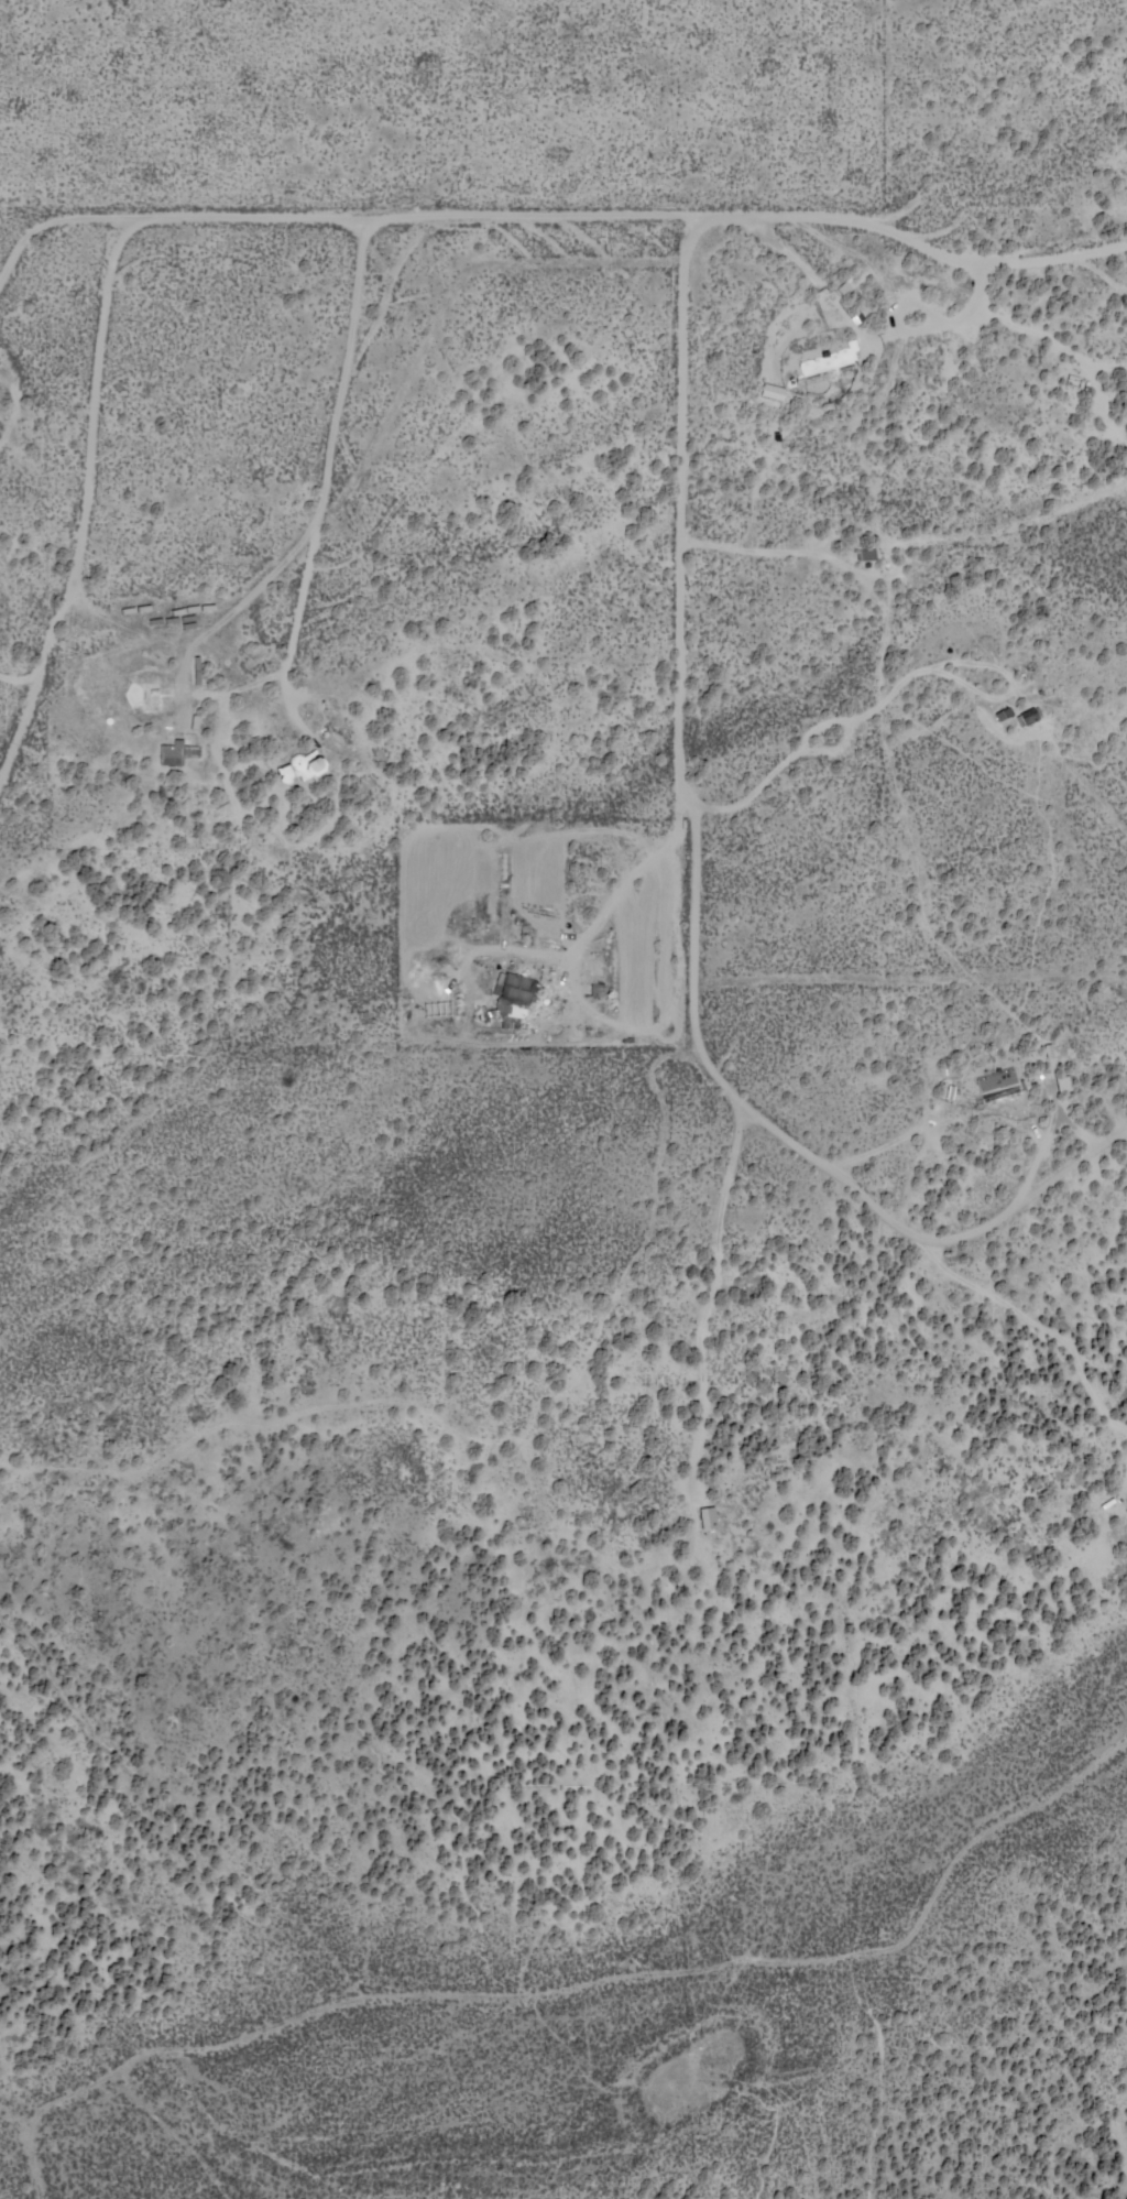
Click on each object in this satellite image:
road: (464, 105)
road: (430, 375)
building: (772, 391)
building: (866, 554)
building: (1004, 712)
building: (1027, 716)
building: (171, 753)
building: (512, 997)
building: (1063, 1082)
building: (708, 1517)
road: (927, 1825)

